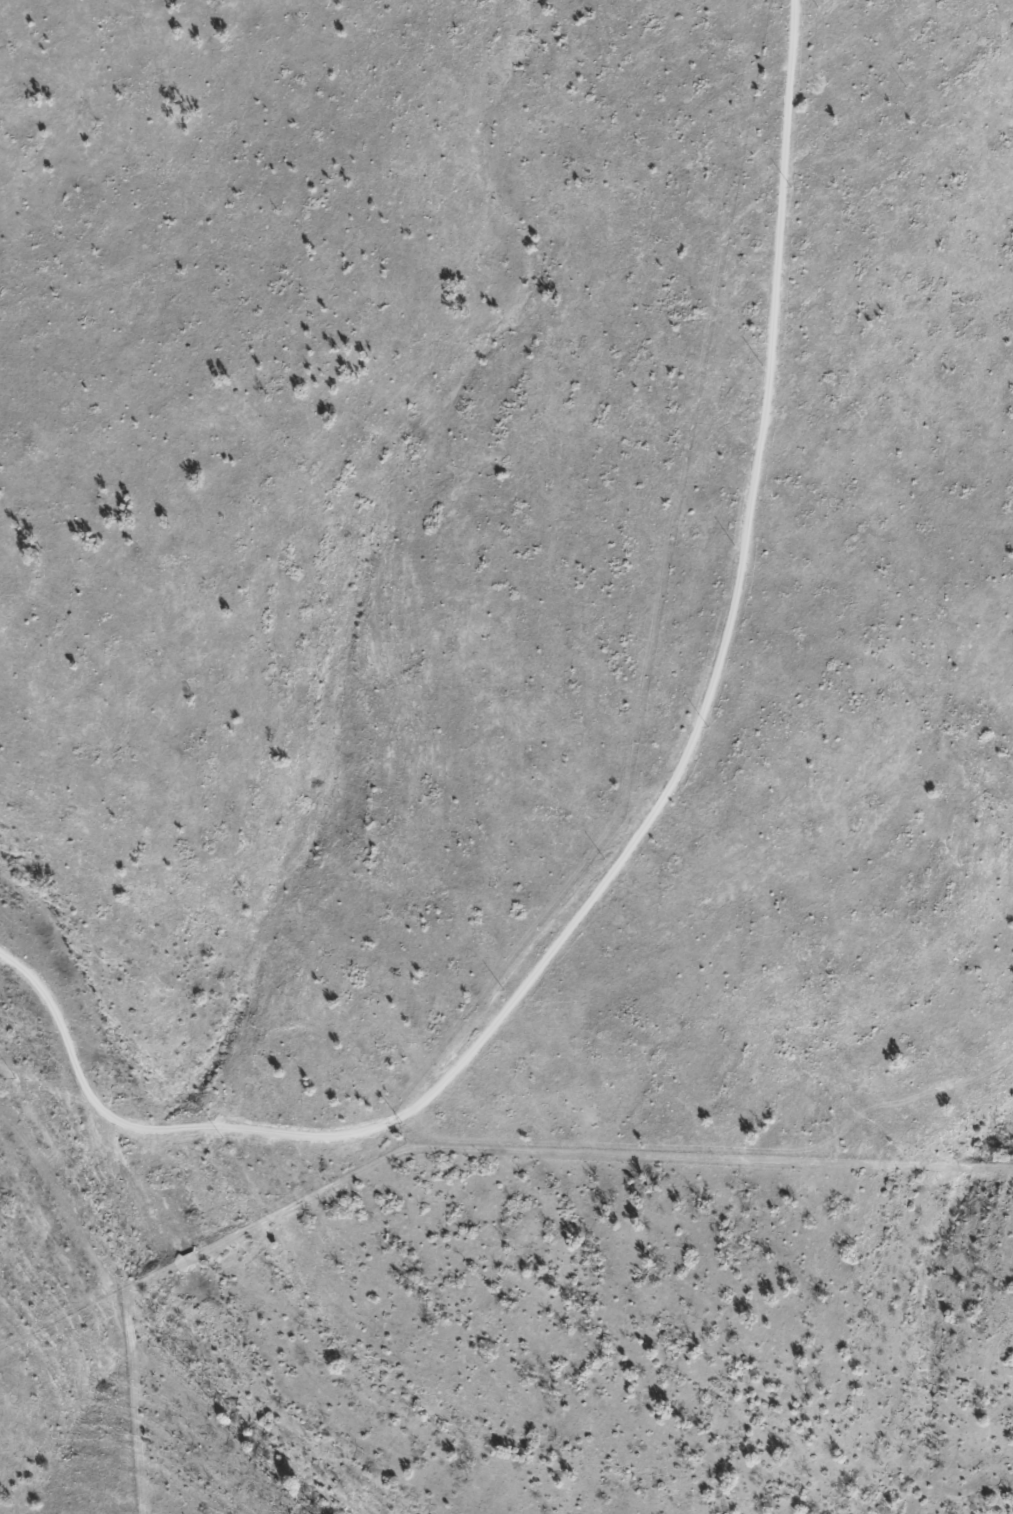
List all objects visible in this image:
road: (622, 838)

